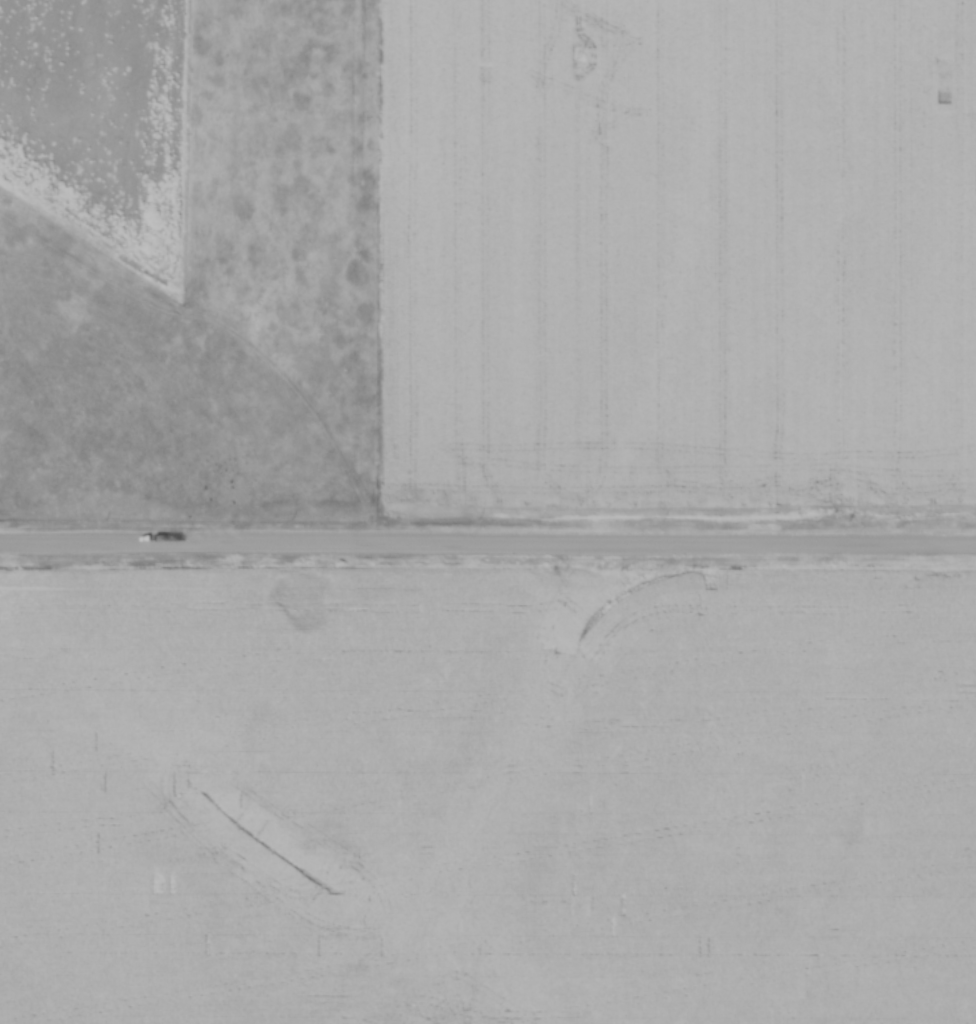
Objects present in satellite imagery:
power tower: (580, 52)
road: (487, 545)

